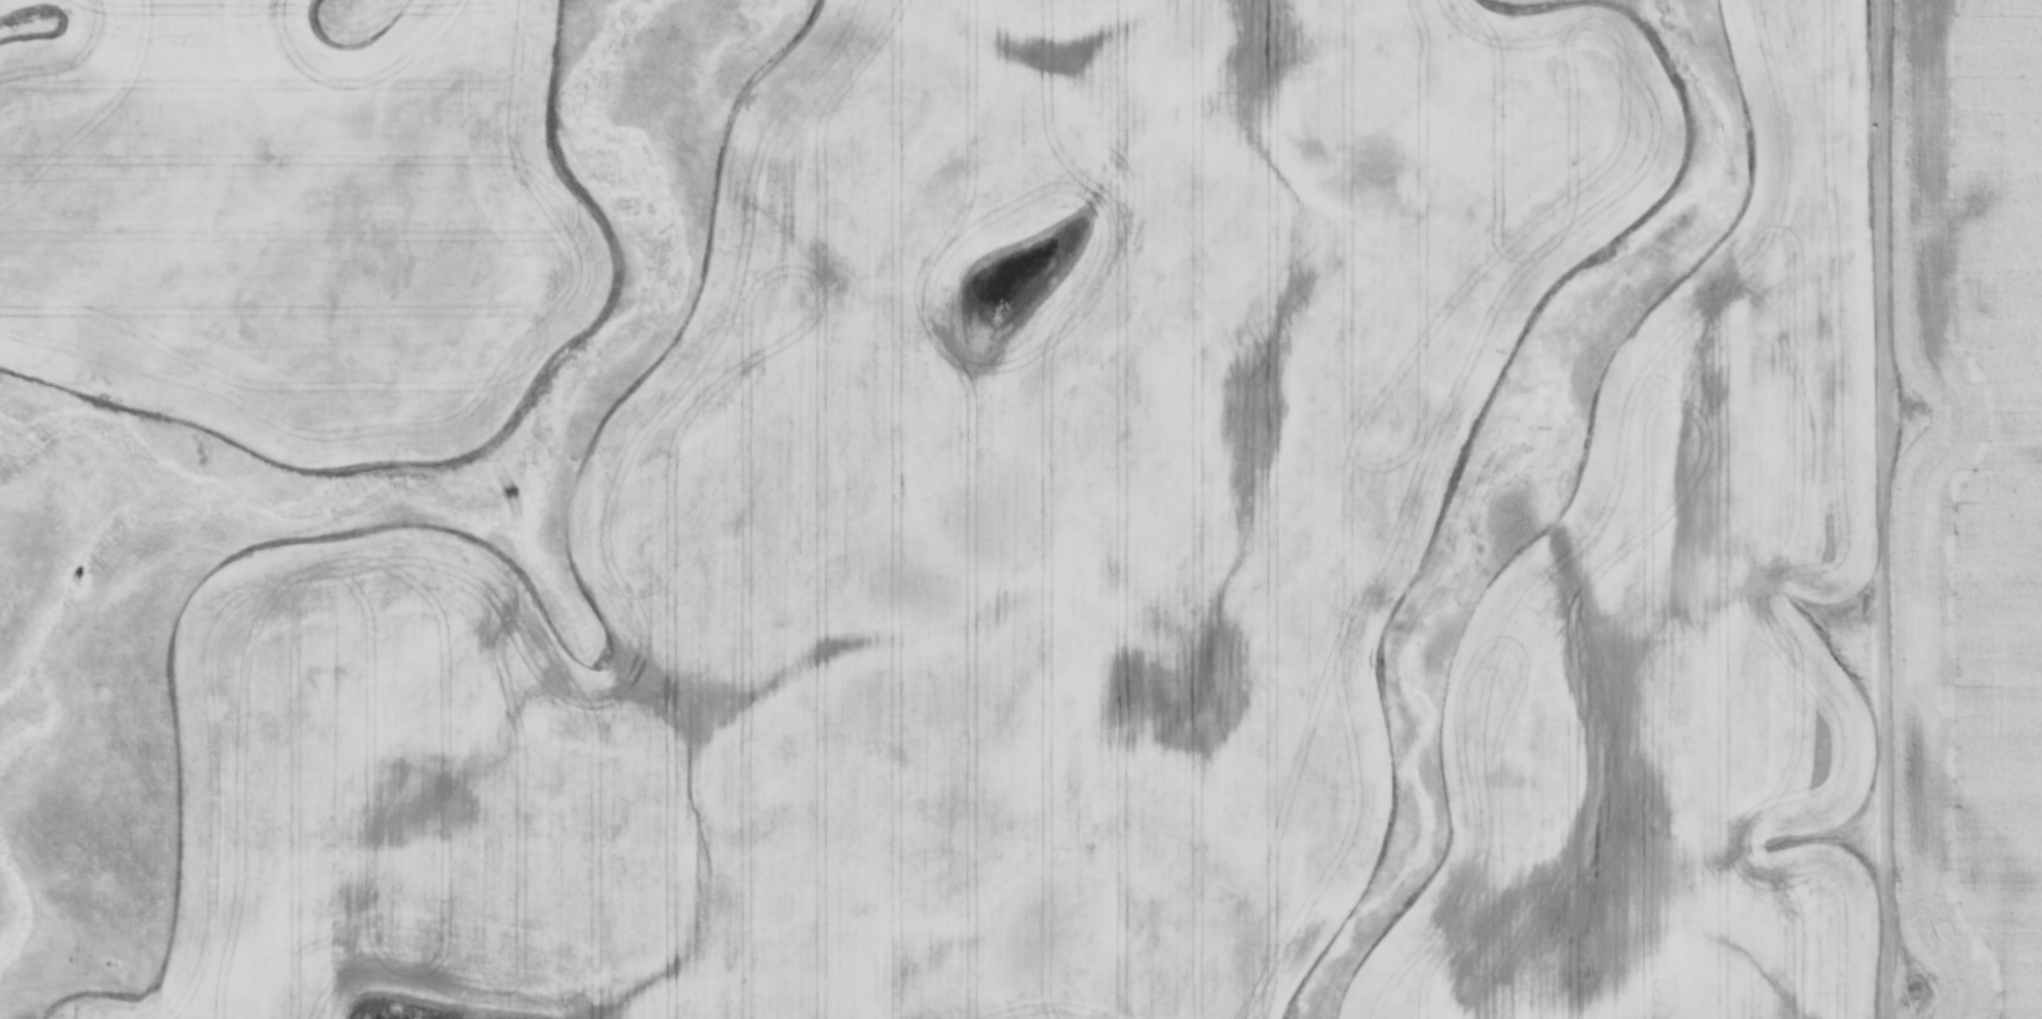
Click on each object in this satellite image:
road: (1857, 112)

